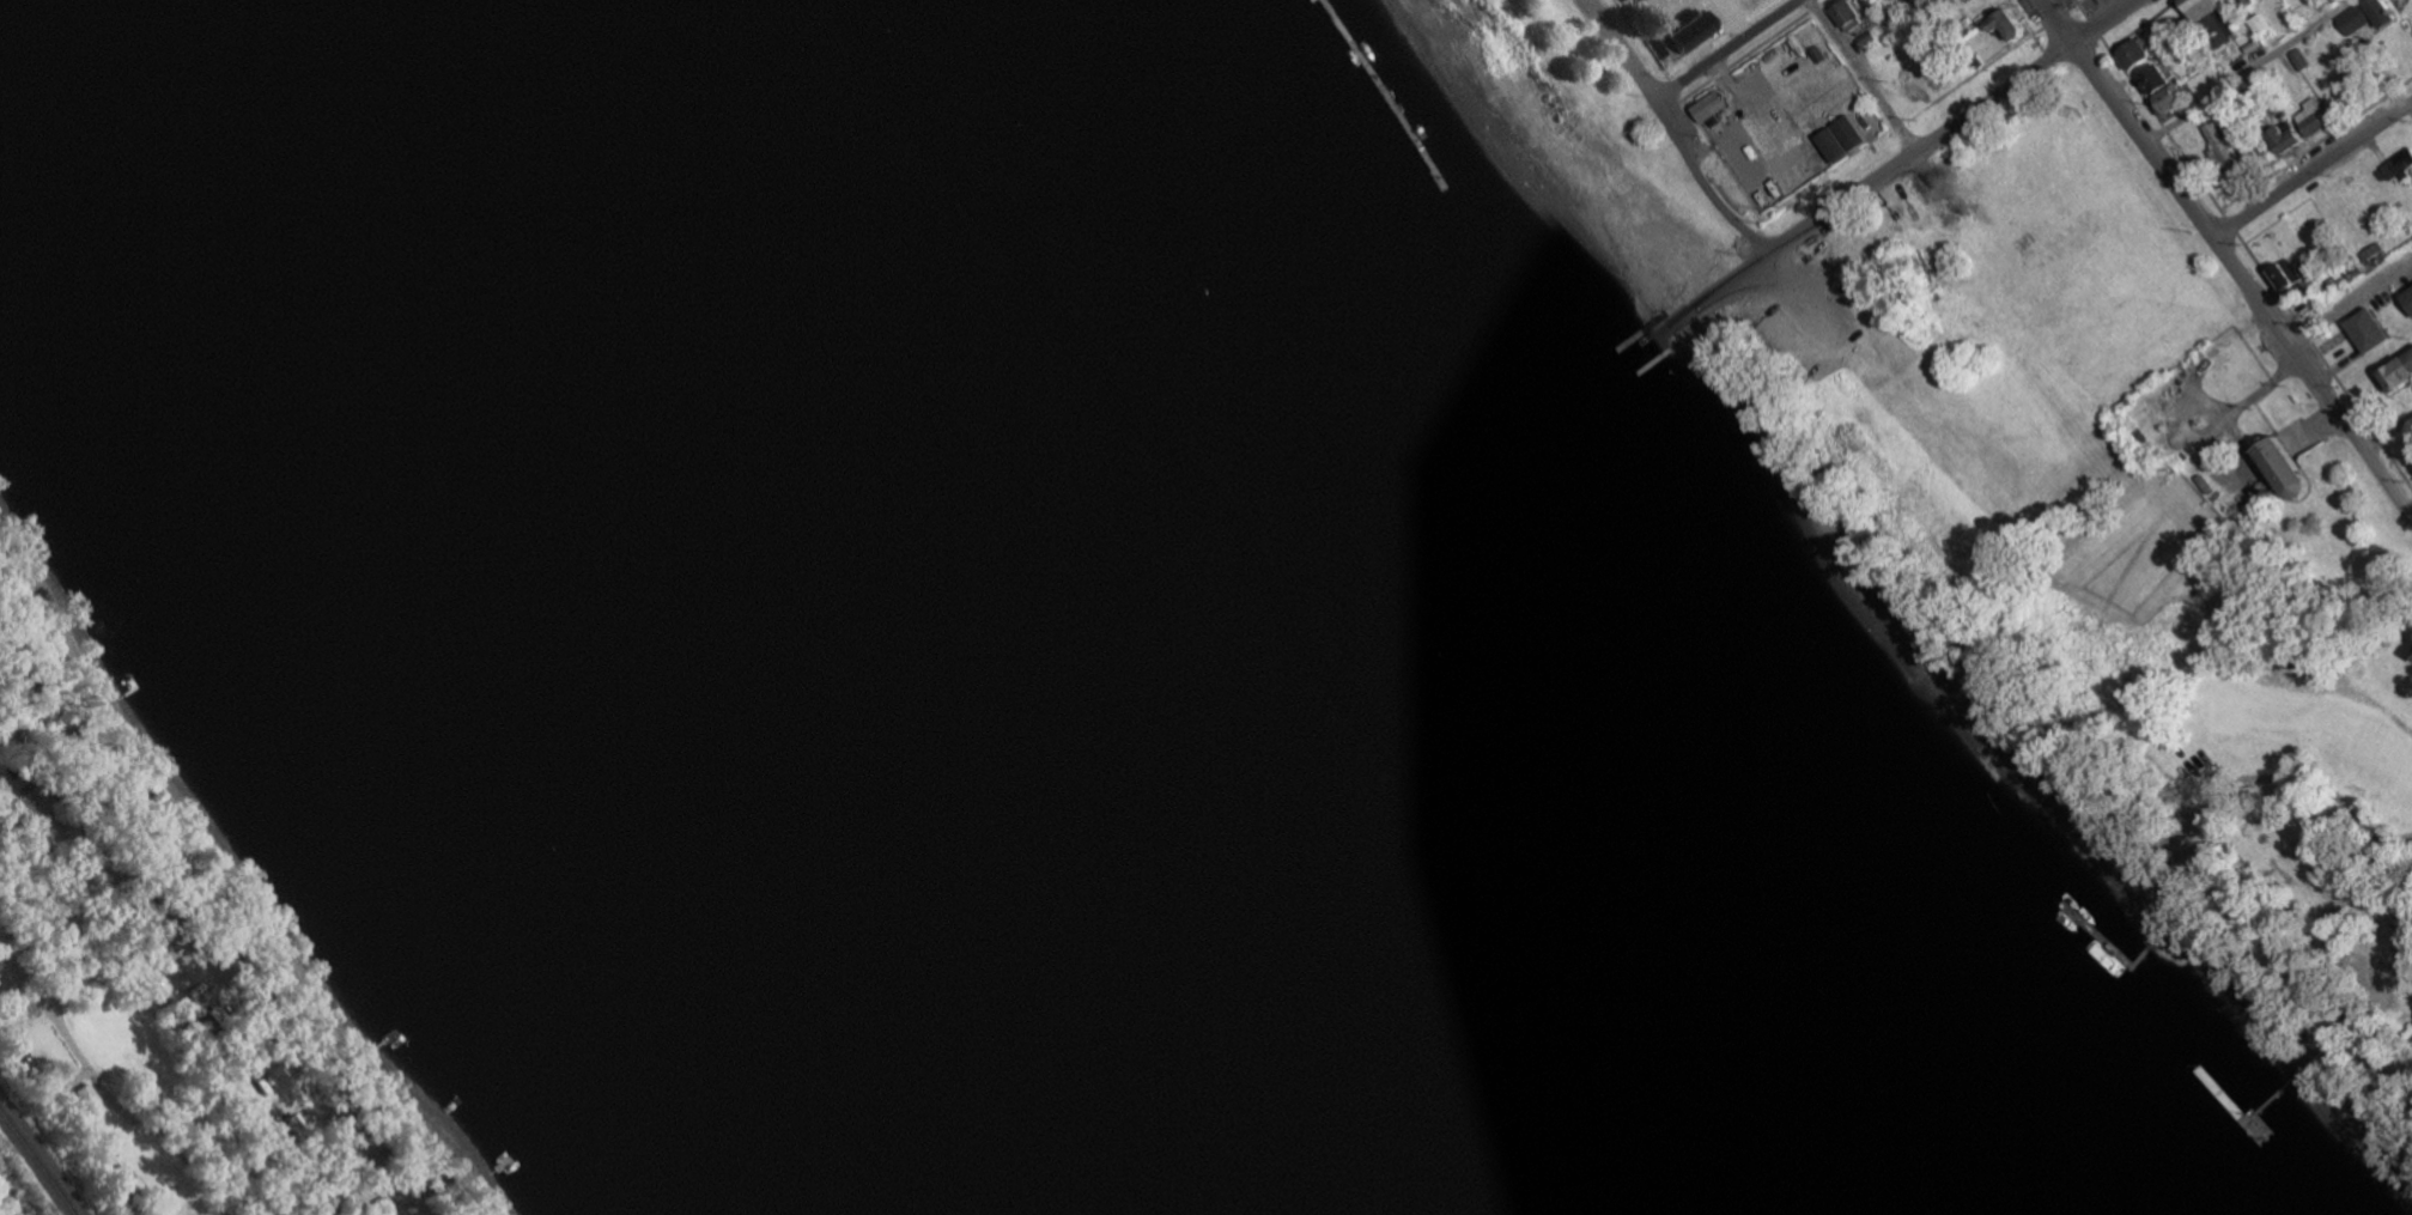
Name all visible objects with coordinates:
building: (1624, 0)
road: (1822, 1)
building: (2247, 1)
road: (2074, 4)
building: (2198, 7)
road: (2080, 8)
building: (1846, 14)
building: (2364, 16)
road: (2055, 18)
building: (2004, 23)
building: (2258, 23)
road: (2144, 24)
road: (2029, 26)
road: (2095, 26)
building: (2216, 29)
building: (1679, 31)
road: (1640, 38)
road: (1727, 47)
road: (1622, 49)
road: (1749, 51)
building: (2133, 51)
road: (1983, 68)
road: (2250, 72)
road: (1863, 74)
building: (2151, 79)
road: (1672, 89)
building: (2168, 97)
building: (1708, 105)
road: (2131, 117)
building: (2311, 117)
pier: (1345, 120)
road: (1950, 124)
road: (2162, 124)
building: (2283, 136)
road: (2315, 142)
park: (1582, 145)
building: (2218, 148)
building: (2402, 164)
road: (2311, 169)
road: (1701, 181)
road: (2230, 223)
building: (2283, 273)
building: (2407, 299)
road: (2350, 302)
building: (2367, 330)
road: (2325, 360)
building: (2396, 370)
road: (2314, 376)
building: (2279, 469)
river: (974, 607)
building: (2411, 634)
road: (2258, 780)
pier: (2108, 959)
road: (159, 1001)
road: (92, 1082)
railway: (35, 1164)

